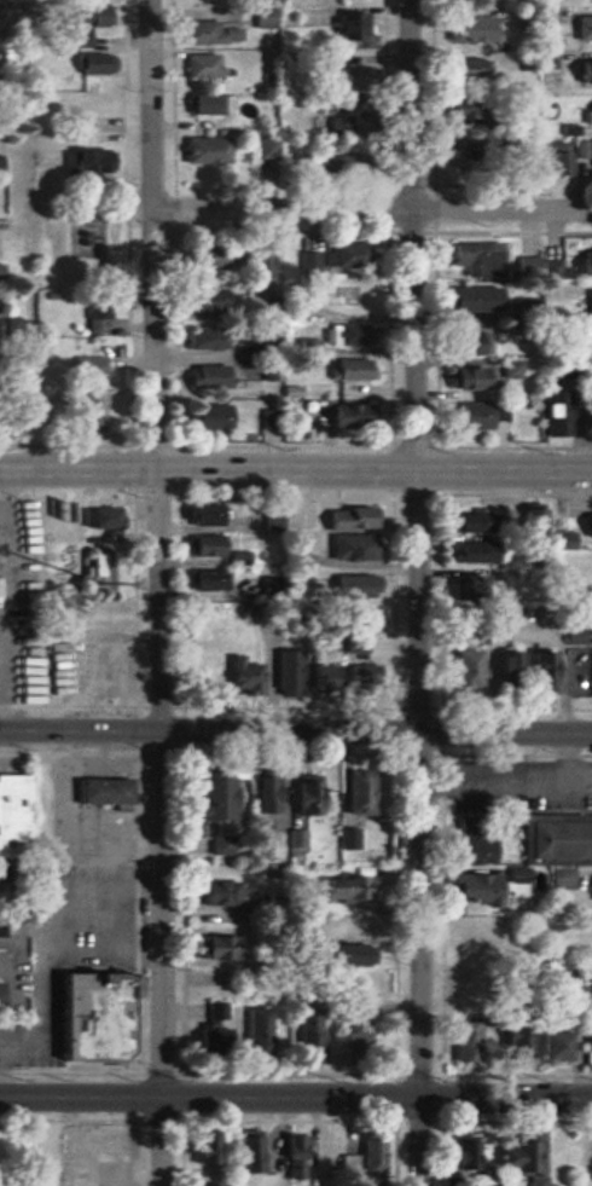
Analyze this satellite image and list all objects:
building: (83, 12)
building: (261, 18)
building: (350, 27)
building: (581, 28)
building: (468, 29)
building: (207, 33)
building: (85, 65)
building: (202, 66)
building: (464, 70)
building: (581, 73)
building: (354, 88)
building: (203, 104)
building: (586, 114)
building: (462, 117)
building: (582, 149)
building: (266, 150)
building: (203, 151)
building: (325, 160)
building: (87, 161)
building: (552, 161)
building: (1, 166)
road: (371, 210)
building: (344, 255)
building: (472, 259)
building: (204, 260)
building: (259, 260)
building: (582, 262)
building: (201, 299)
building: (469, 300)
building: (587, 302)
building: (94, 319)
building: (347, 336)
building: (203, 339)
building: (466, 345)
building: (591, 345)
building: (307, 347)
building: (92, 368)
building: (350, 370)
building: (510, 370)
building: (203, 377)
building: (591, 378)
building: (468, 380)
building: (89, 409)
building: (551, 413)
building: (346, 415)
building: (587, 416)
building: (471, 417)
building: (203, 418)
road: (295, 471)
building: (199, 515)
building: (100, 517)
building: (528, 517)
building: (347, 519)
building: (271, 520)
building: (470, 523)
building: (586, 527)
building: (204, 546)
building: (348, 548)
building: (470, 554)
building: (587, 574)
building: (352, 588)
road: (159, 592)
road: (418, 592)
building: (364, 624)
building: (571, 635)
building: (95, 666)
building: (463, 670)
building: (500, 672)
building: (540, 672)
building: (202, 675)
building: (240, 676)
building: (301, 676)
building: (591, 677)
building: (358, 681)
road: (5, 729)
road: (301, 730)
building: (99, 791)
building: (265, 792)
building: (359, 793)
building: (304, 794)
building: (210, 798)
building: (10, 817)
building: (558, 838)
building: (470, 841)
building: (561, 879)
building: (346, 889)
building: (474, 889)
building: (591, 889)
building: (211, 893)
building: (342, 928)
building: (474, 930)
building: (217, 949)
building: (342, 955)
building: (466, 956)
building: (87, 1018)
building: (213, 1030)
building: (254, 1031)
building: (348, 1032)
building: (304, 1034)
building: (515, 1042)
building: (463, 1043)
building: (545, 1046)
road: (295, 1098)
building: (204, 1149)
building: (249, 1153)
building: (323, 1155)
building: (466, 1155)
building: (513, 1155)
building: (289, 1157)
building: (364, 1157)
building: (591, 1161)
building: (482, 1179)
building: (536, 1181)
building: (205, 1184)

